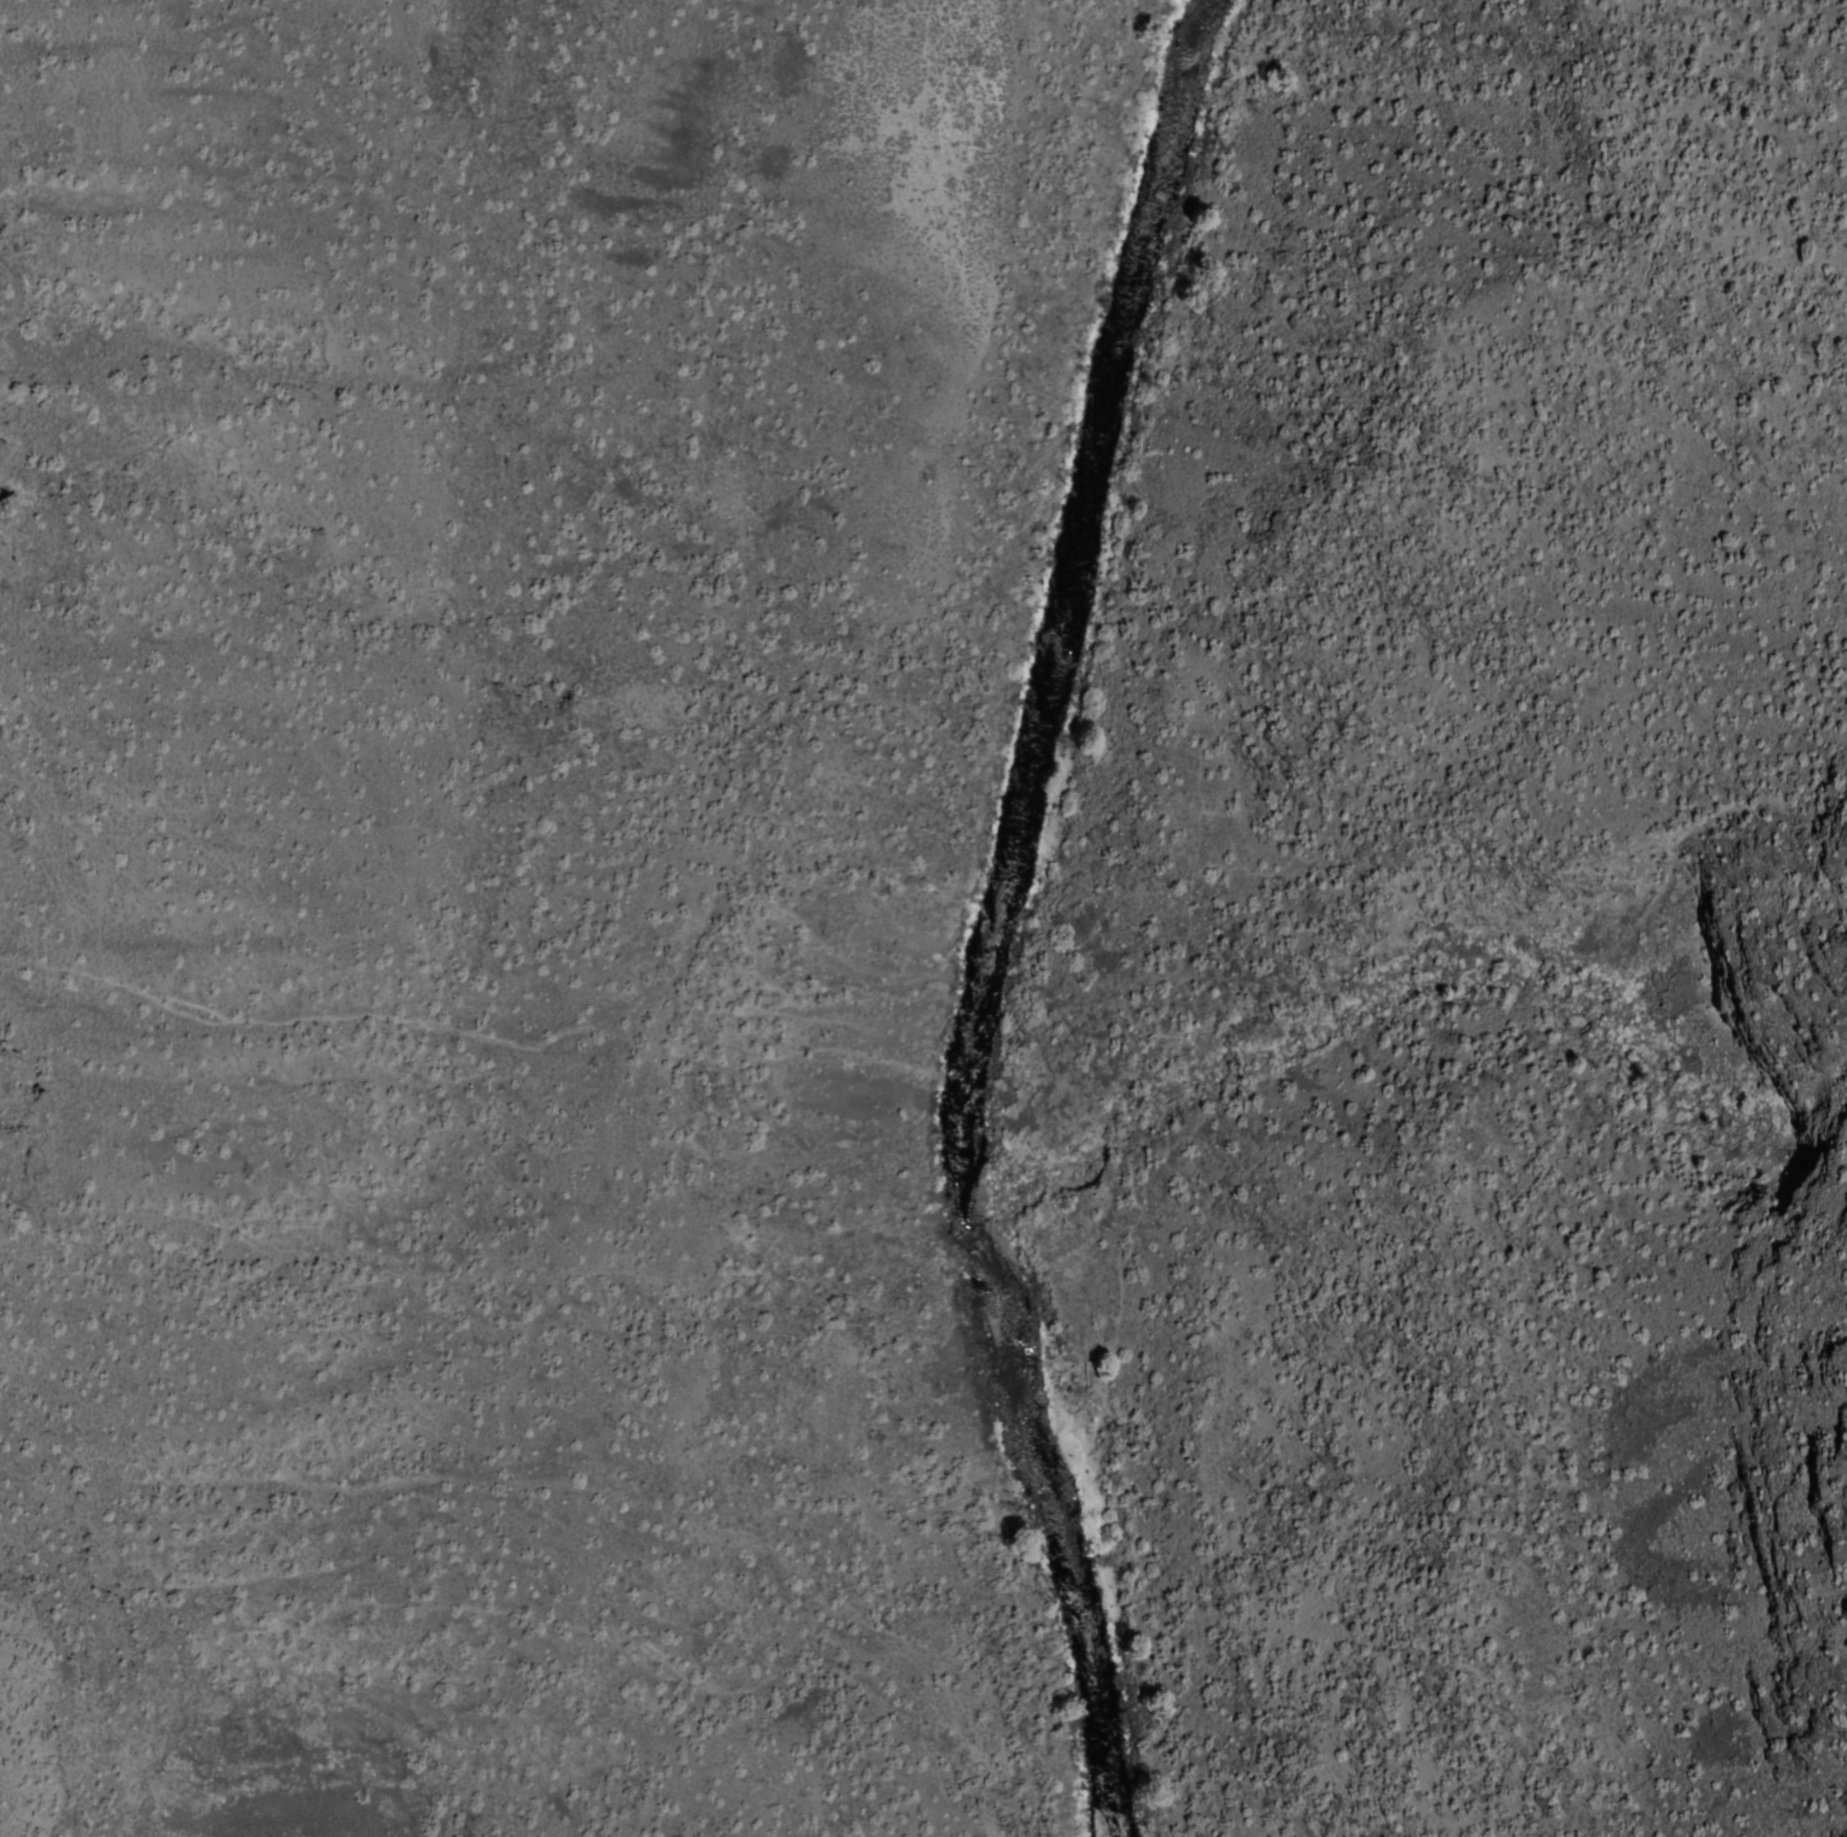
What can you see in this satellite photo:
river: (1003, 917)

